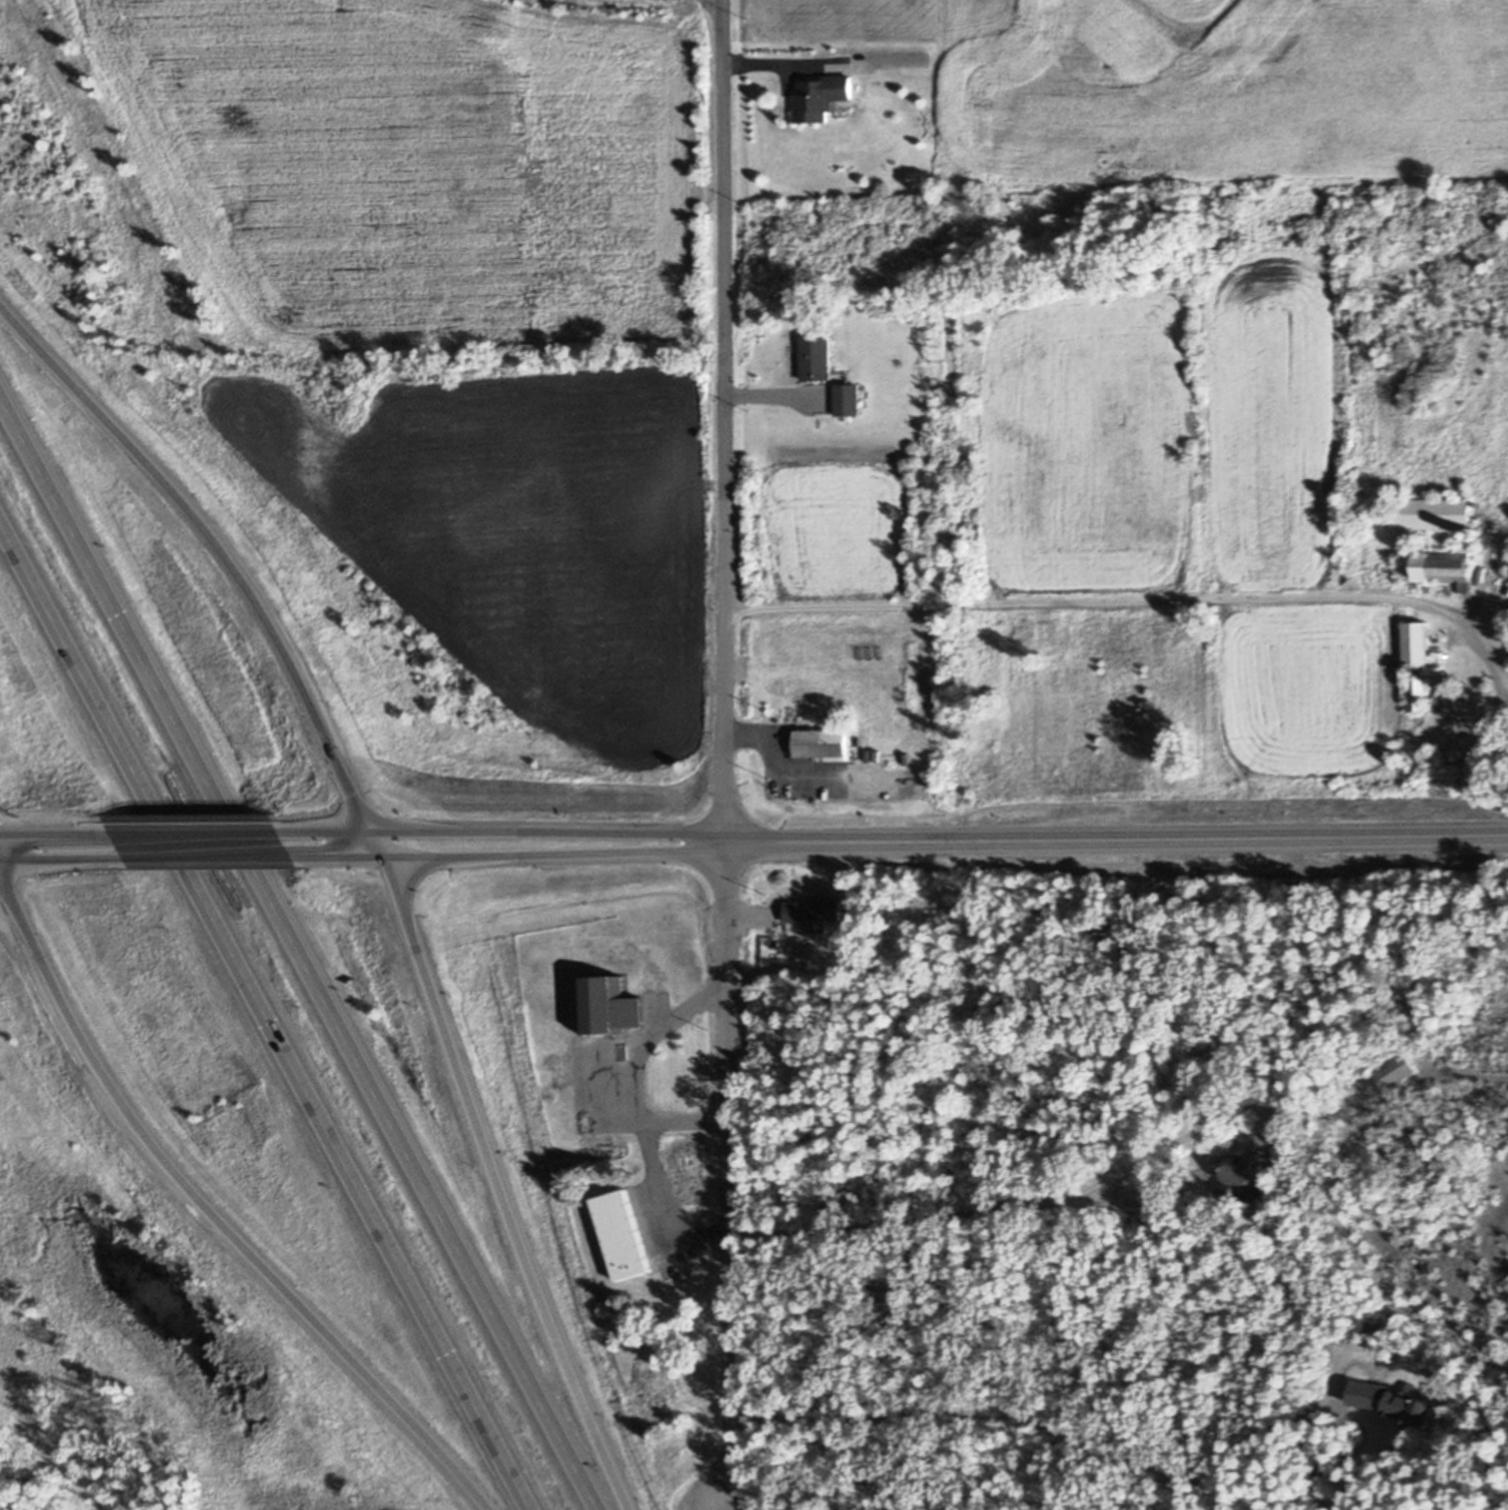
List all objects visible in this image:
road: (785, 58)
building: (821, 98)
building: (845, 104)
building: (835, 106)
building: (850, 301)
building: (816, 357)
building: (839, 377)
building: (846, 398)
road: (728, 421)
building: (1477, 505)
building: (1476, 538)
building: (1464, 540)
road: (230, 556)
road: (1154, 598)
building: (1416, 644)
building: (1418, 692)
building: (906, 694)
building: (820, 744)
road: (506, 832)
road: (199, 835)
road: (57, 836)
road: (1119, 839)
road: (513, 855)
road: (212, 858)
road: (64, 861)
building: (815, 910)
road: (300, 949)
building: (610, 1007)
road: (266, 1016)
road: (647, 1029)
road: (901, 1047)
building: (1391, 1075)
building: (1350, 1107)
road: (651, 1161)
building: (1246, 1173)
road: (731, 1178)
road: (502, 1186)
road: (971, 1199)
road: (213, 1210)
building: (1131, 1218)
building: (621, 1233)
building: (1403, 1406)
road: (1136, 1457)

